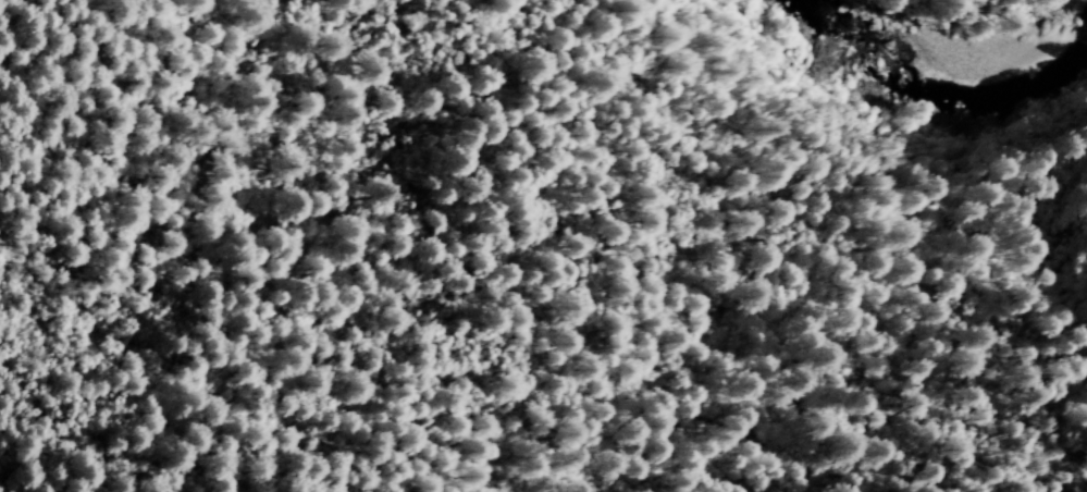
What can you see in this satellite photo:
river: (863, 21)
river: (1005, 37)

